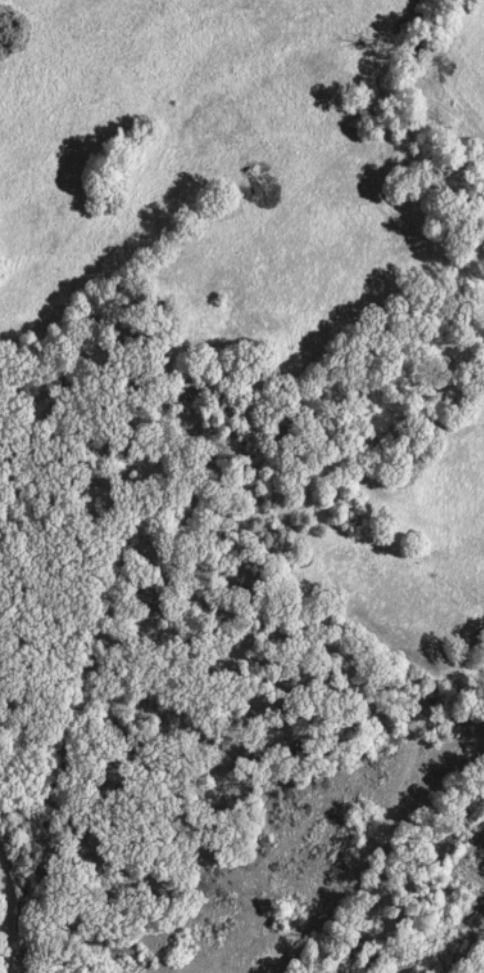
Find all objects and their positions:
road: (3, 917)

